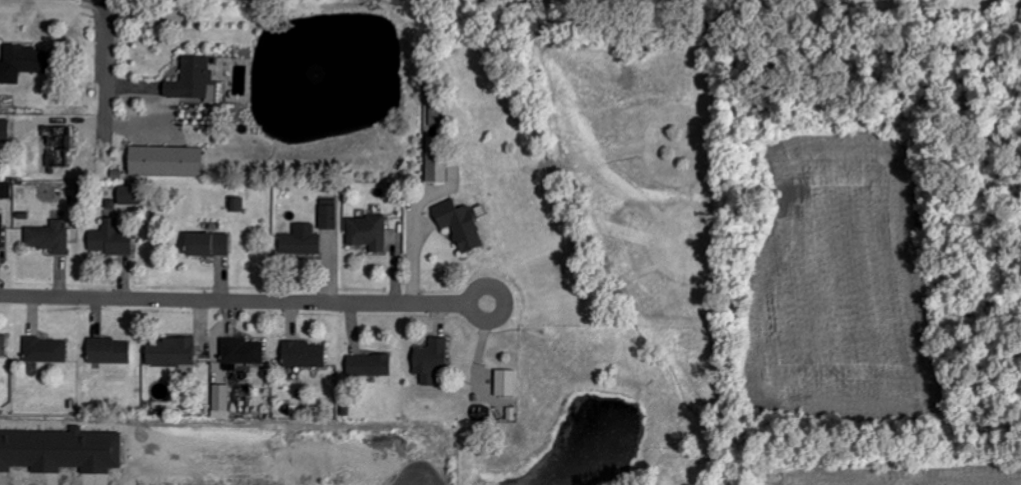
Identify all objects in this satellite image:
building: (28, 63)
road: (105, 72)
building: (198, 80)
building: (5, 130)
building: (62, 145)
building: (172, 161)
building: (440, 161)
building: (8, 191)
building: (134, 195)
building: (240, 204)
building: (332, 214)
building: (466, 224)
building: (4, 231)
building: (371, 232)
building: (53, 237)
building: (116, 239)
building: (304, 239)
building: (216, 244)
road: (244, 301)
building: (5, 346)
building: (50, 350)
building: (113, 351)
building: (177, 351)
building: (246, 351)
building: (309, 354)
building: (436, 360)
building: (374, 365)
building: (511, 382)
building: (225, 401)

